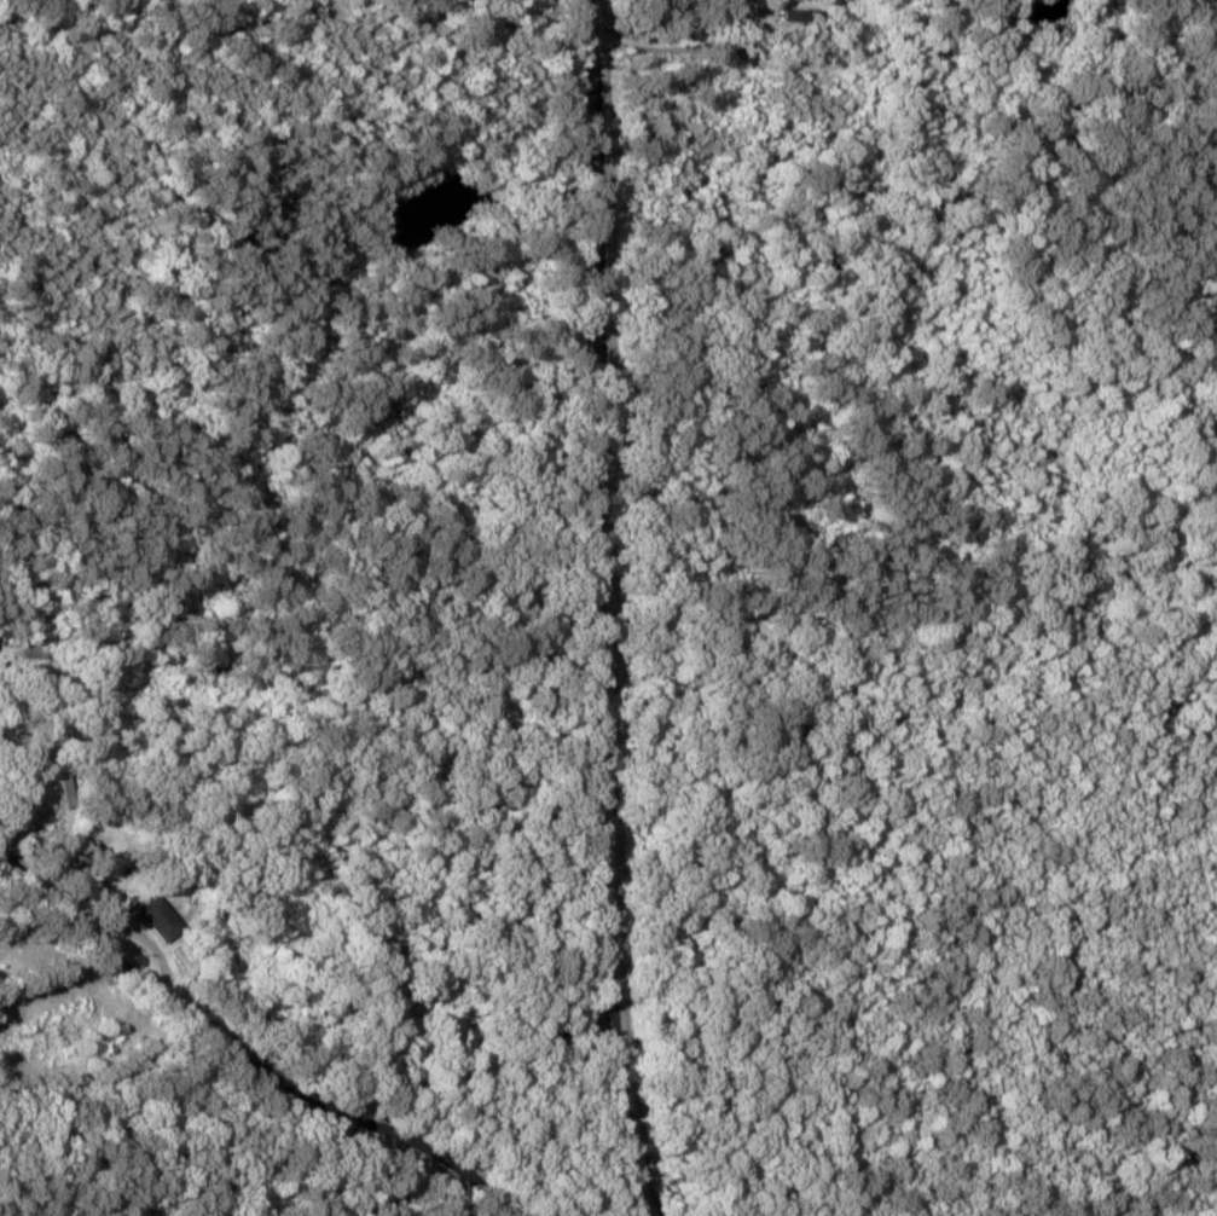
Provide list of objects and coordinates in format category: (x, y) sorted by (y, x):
road: (610, 609)
building: (164, 919)
road: (52, 998)
road: (220, 1054)

